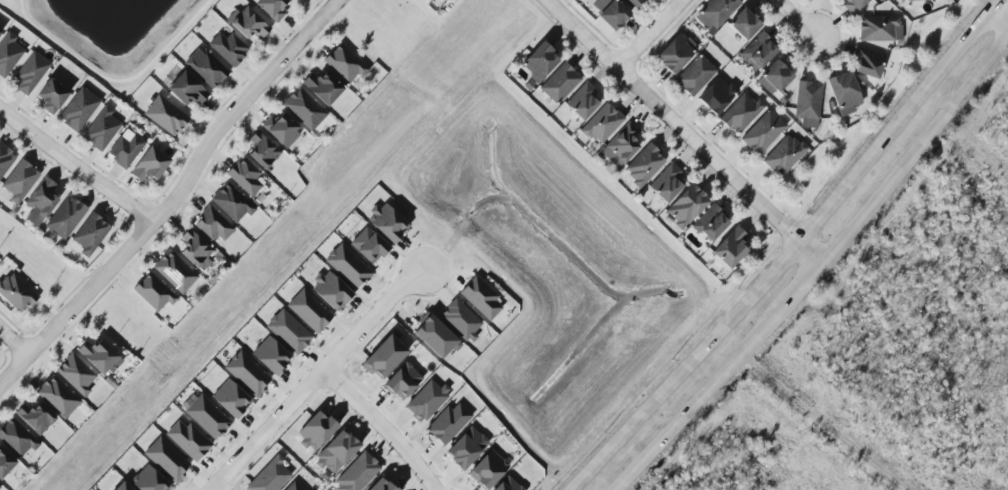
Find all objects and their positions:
building: (430, 0)
building: (914, 0)
building: (631, 3)
building: (852, 5)
building: (271, 8)
building: (715, 12)
building: (612, 15)
road: (999, 16)
road: (795, 19)
building: (247, 23)
building: (743, 23)
building: (879, 28)
building: (0, 33)
road: (650, 33)
building: (228, 48)
building: (758, 50)
building: (676, 53)
building: (8, 54)
building: (539, 62)
building: (867, 62)
building: (343, 63)
building: (206, 68)
building: (31, 73)
building: (695, 75)
road: (113, 77)
building: (774, 77)
building: (558, 83)
building: (322, 87)
building: (186, 89)
building: (843, 93)
building: (51, 95)
building: (717, 95)
building: (582, 101)
building: (807, 103)
building: (78, 109)
building: (304, 109)
building: (741, 112)
building: (165, 115)
building: (601, 123)
building: (100, 129)
building: (281, 130)
road: (684, 130)
building: (762, 132)
building: (620, 146)
building: (125, 148)
building: (262, 150)
road: (914, 150)
building: (784, 155)
building: (5, 159)
building: (149, 164)
road: (76, 166)
building: (643, 166)
building: (244, 176)
building: (19, 180)
building: (666, 183)
road: (175, 196)
building: (40, 201)
building: (230, 202)
building: (685, 206)
building: (65, 217)
building: (387, 222)
building: (709, 223)
building: (212, 224)
building: (90, 234)
road: (435, 244)
building: (369, 245)
building: (194, 248)
building: (729, 248)
road: (785, 248)
building: (348, 266)
building: (174, 272)
road: (799, 286)
building: (331, 291)
building: (153, 292)
building: (16, 293)
building: (481, 298)
building: (308, 310)
building: (460, 320)
building: (288, 331)
building: (434, 336)
road: (13, 342)
building: (99, 356)
building: (271, 356)
building: (384, 356)
building: (247, 373)
building: (75, 374)
road: (315, 378)
building: (402, 381)
building: (57, 397)
building: (230, 399)
building: (427, 400)
road: (696, 401)
building: (206, 416)
building: (35, 417)
road: (824, 421)
building: (448, 423)
road: (382, 426)
road: (400, 427)
building: (315, 430)
road: (373, 435)
building: (17, 437)
building: (188, 440)
building: (465, 448)
building: (336, 452)
building: (166, 459)
building: (5, 462)
building: (487, 470)
building: (357, 473)
building: (270, 476)
building: (148, 480)
building: (381, 485)
building: (506, 485)
building: (0, 487)
building: (122, 487)
building: (293, 487)
road: (229, 489)

